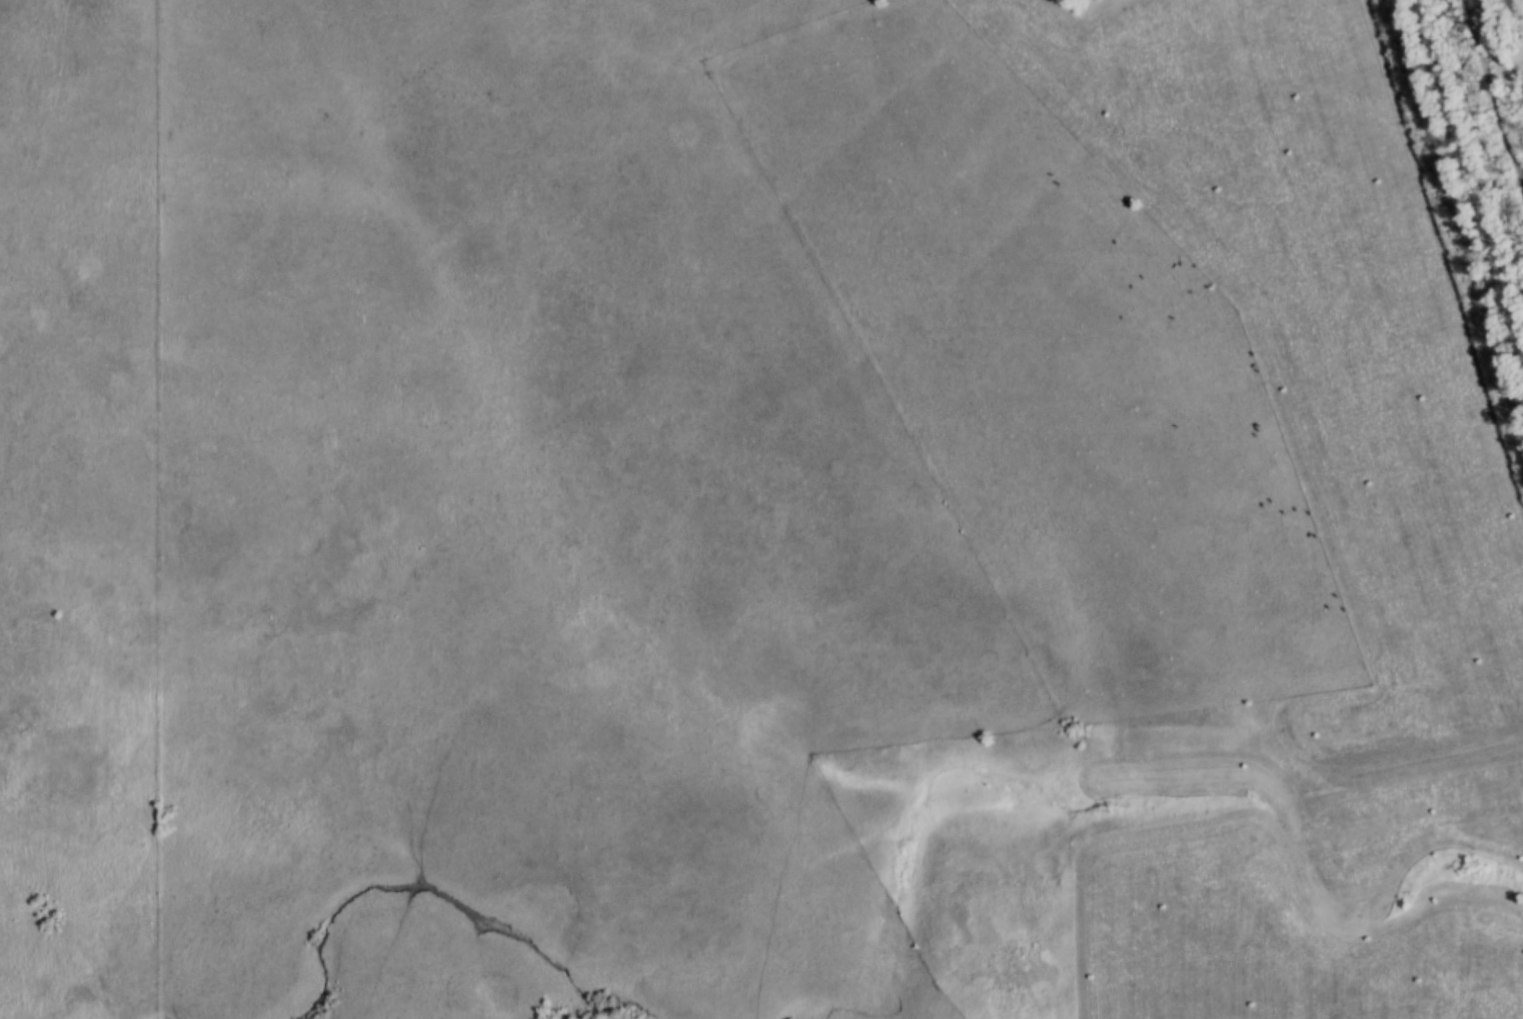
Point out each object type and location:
road: (1491, 100)

